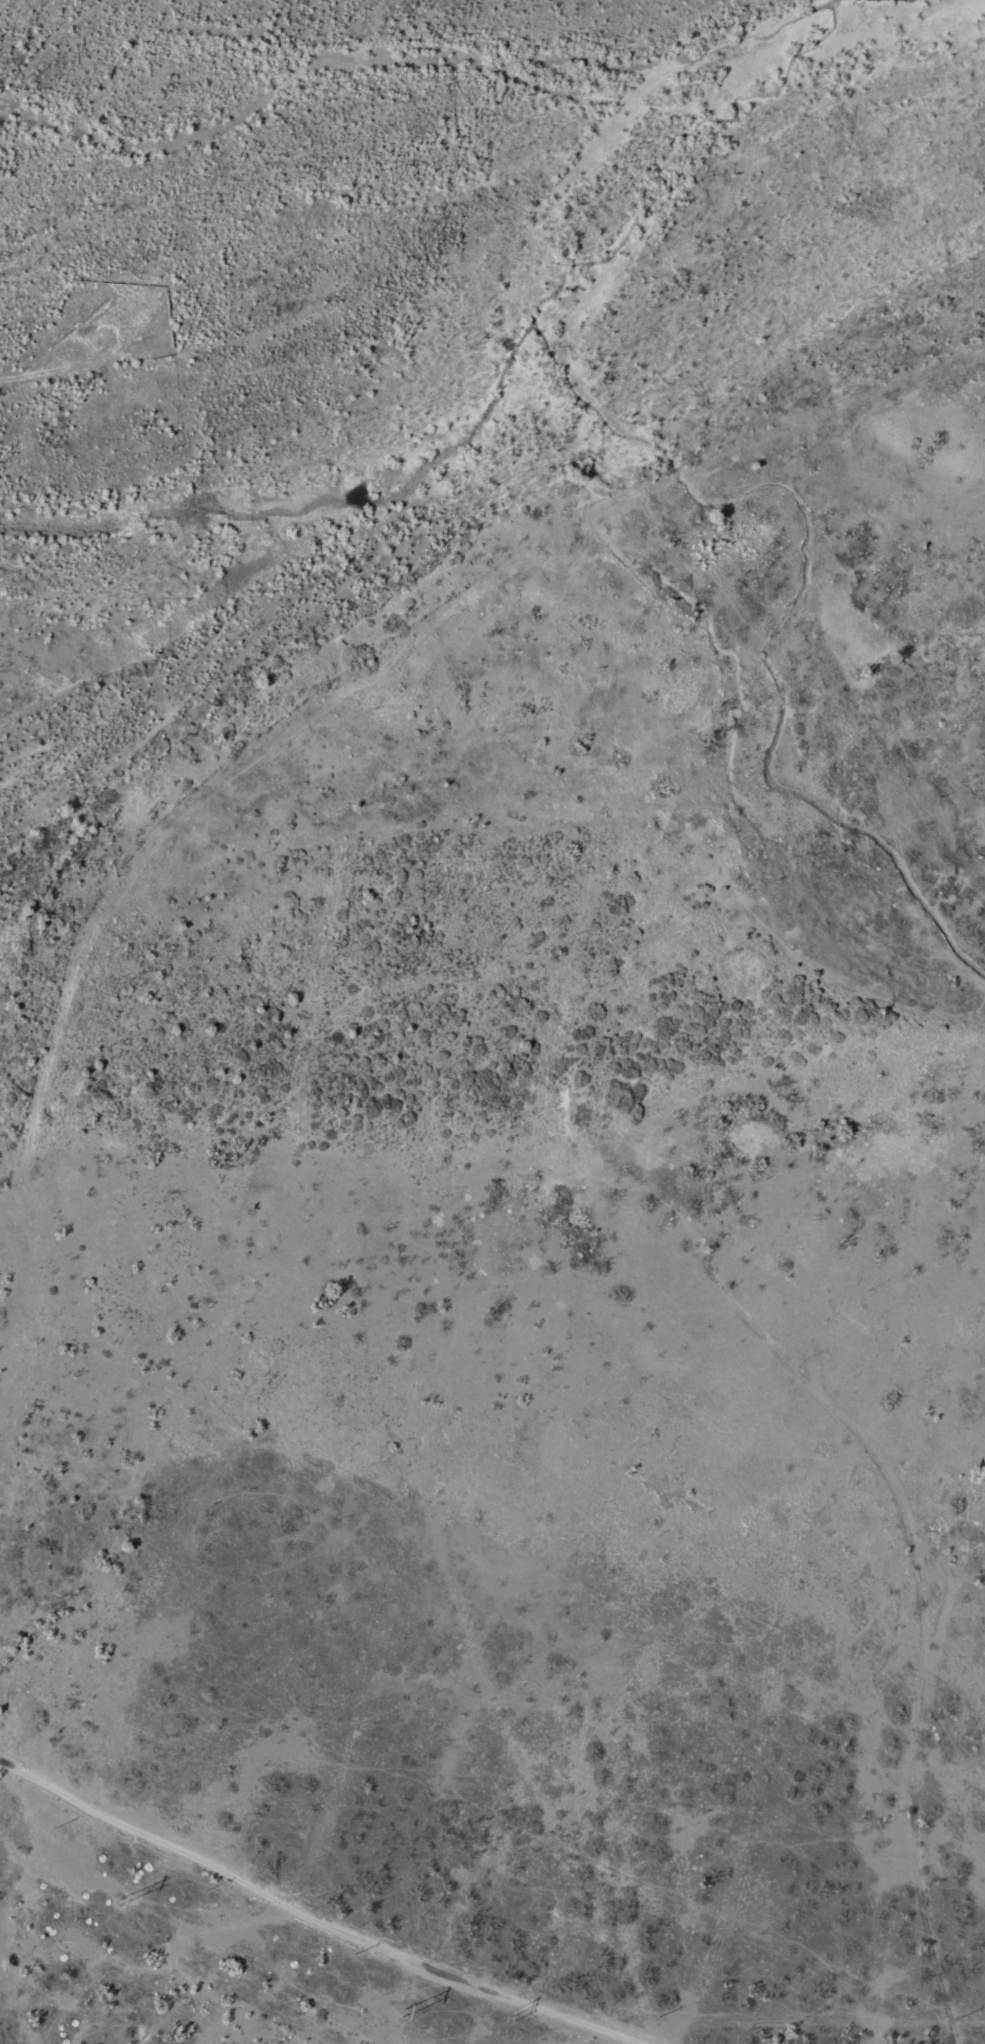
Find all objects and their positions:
river: (502, 380)
power tower: (118, 1901)
power tower: (402, 2012)

